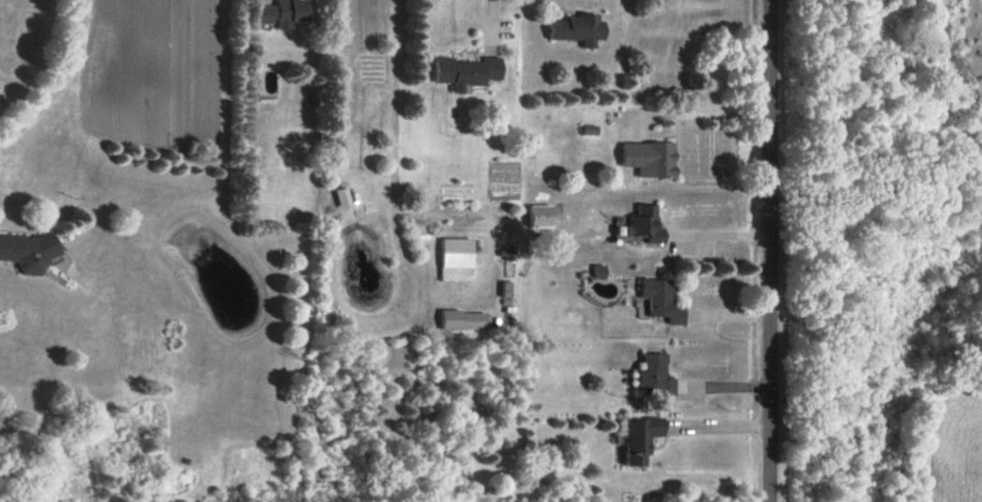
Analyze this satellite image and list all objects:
building: (281, 13)
road: (492, 17)
building: (576, 28)
building: (466, 71)
road: (58, 80)
road: (702, 114)
road: (392, 155)
building: (648, 158)
building: (342, 196)
building: (644, 223)
road: (717, 235)
road: (251, 250)
road: (770, 250)
building: (26, 251)
building: (507, 252)
building: (456, 259)
building: (508, 289)
building: (660, 299)
building: (463, 319)
building: (653, 375)
road: (717, 426)
building: (639, 438)

